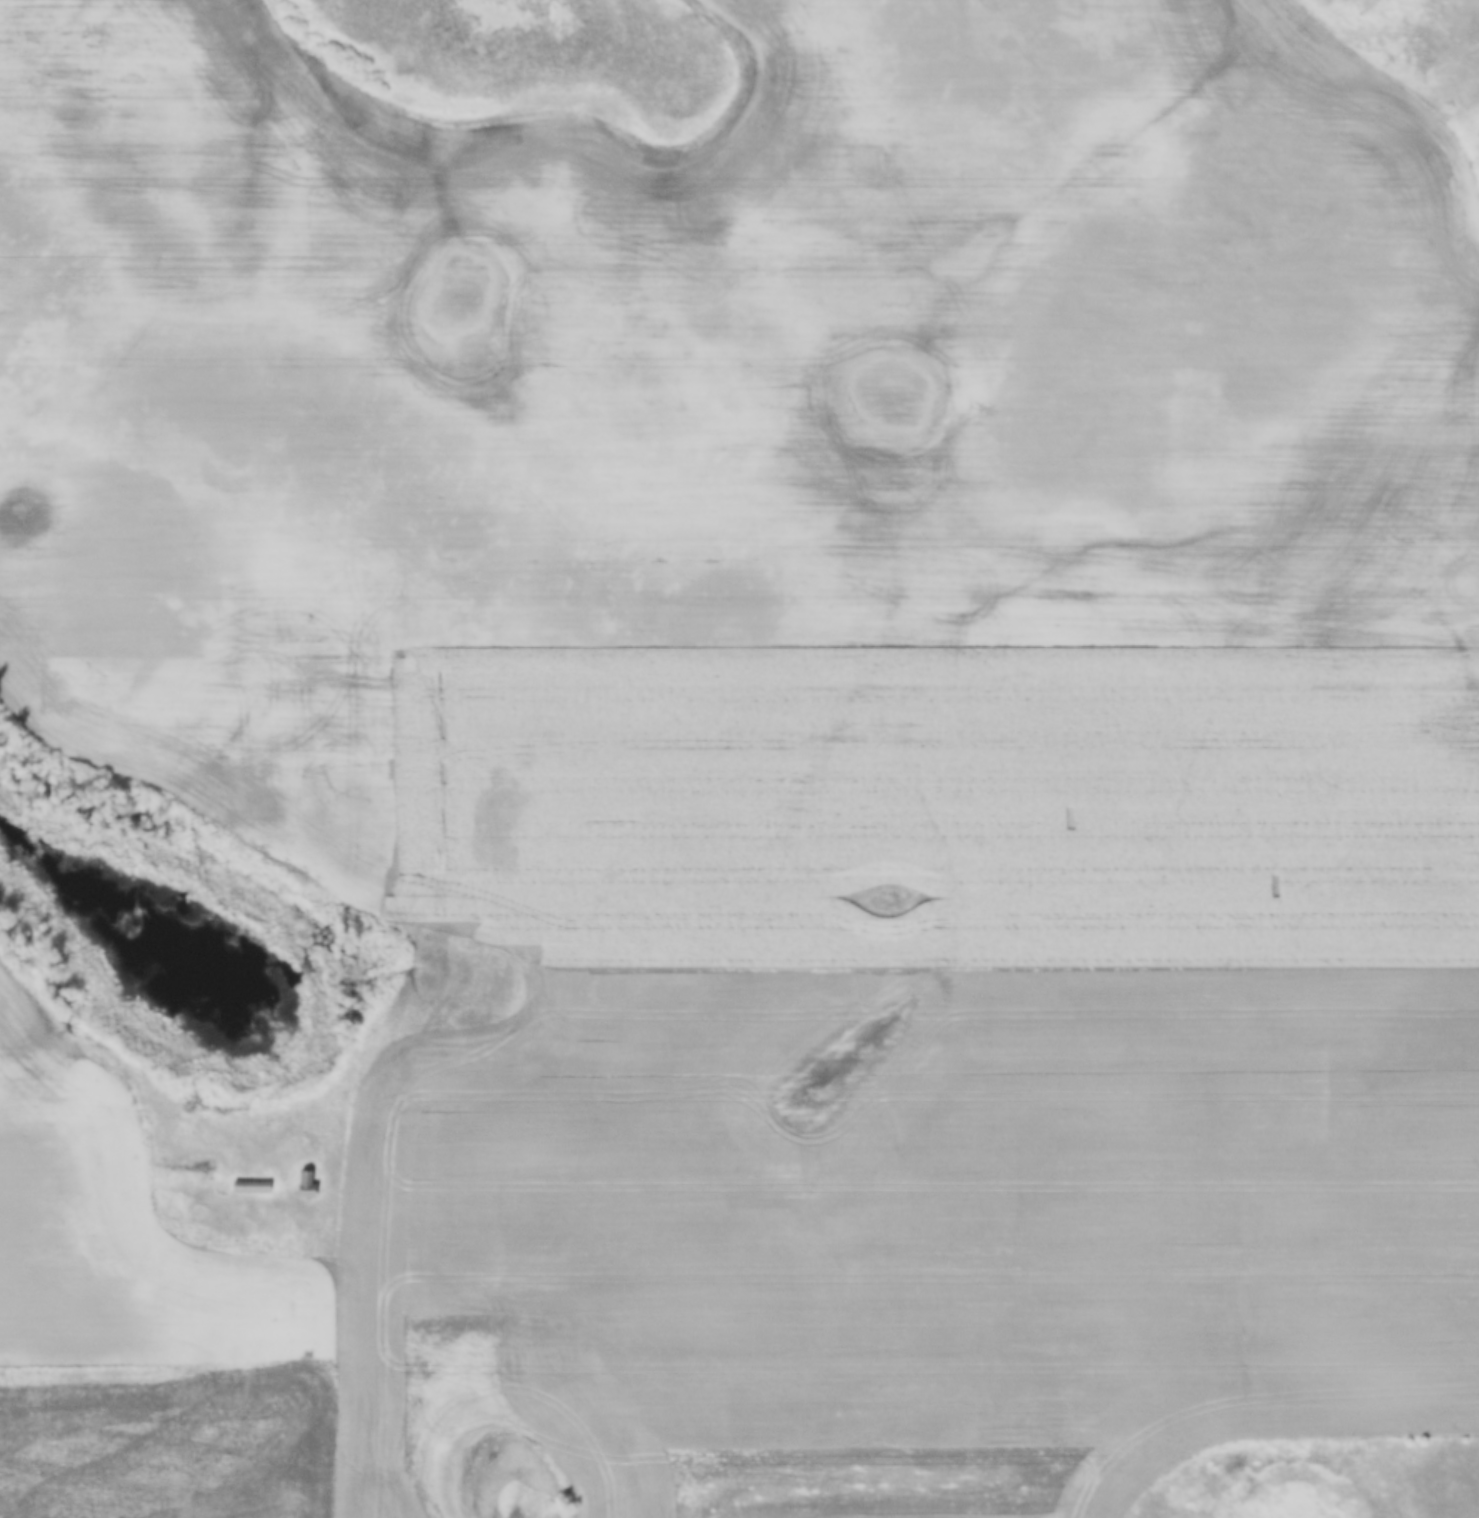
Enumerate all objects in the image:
road: (361, 1120)
building: (307, 1185)
building: (252, 1189)
road: (221, 1377)
road: (1277, 1429)
road: (299, 1448)

